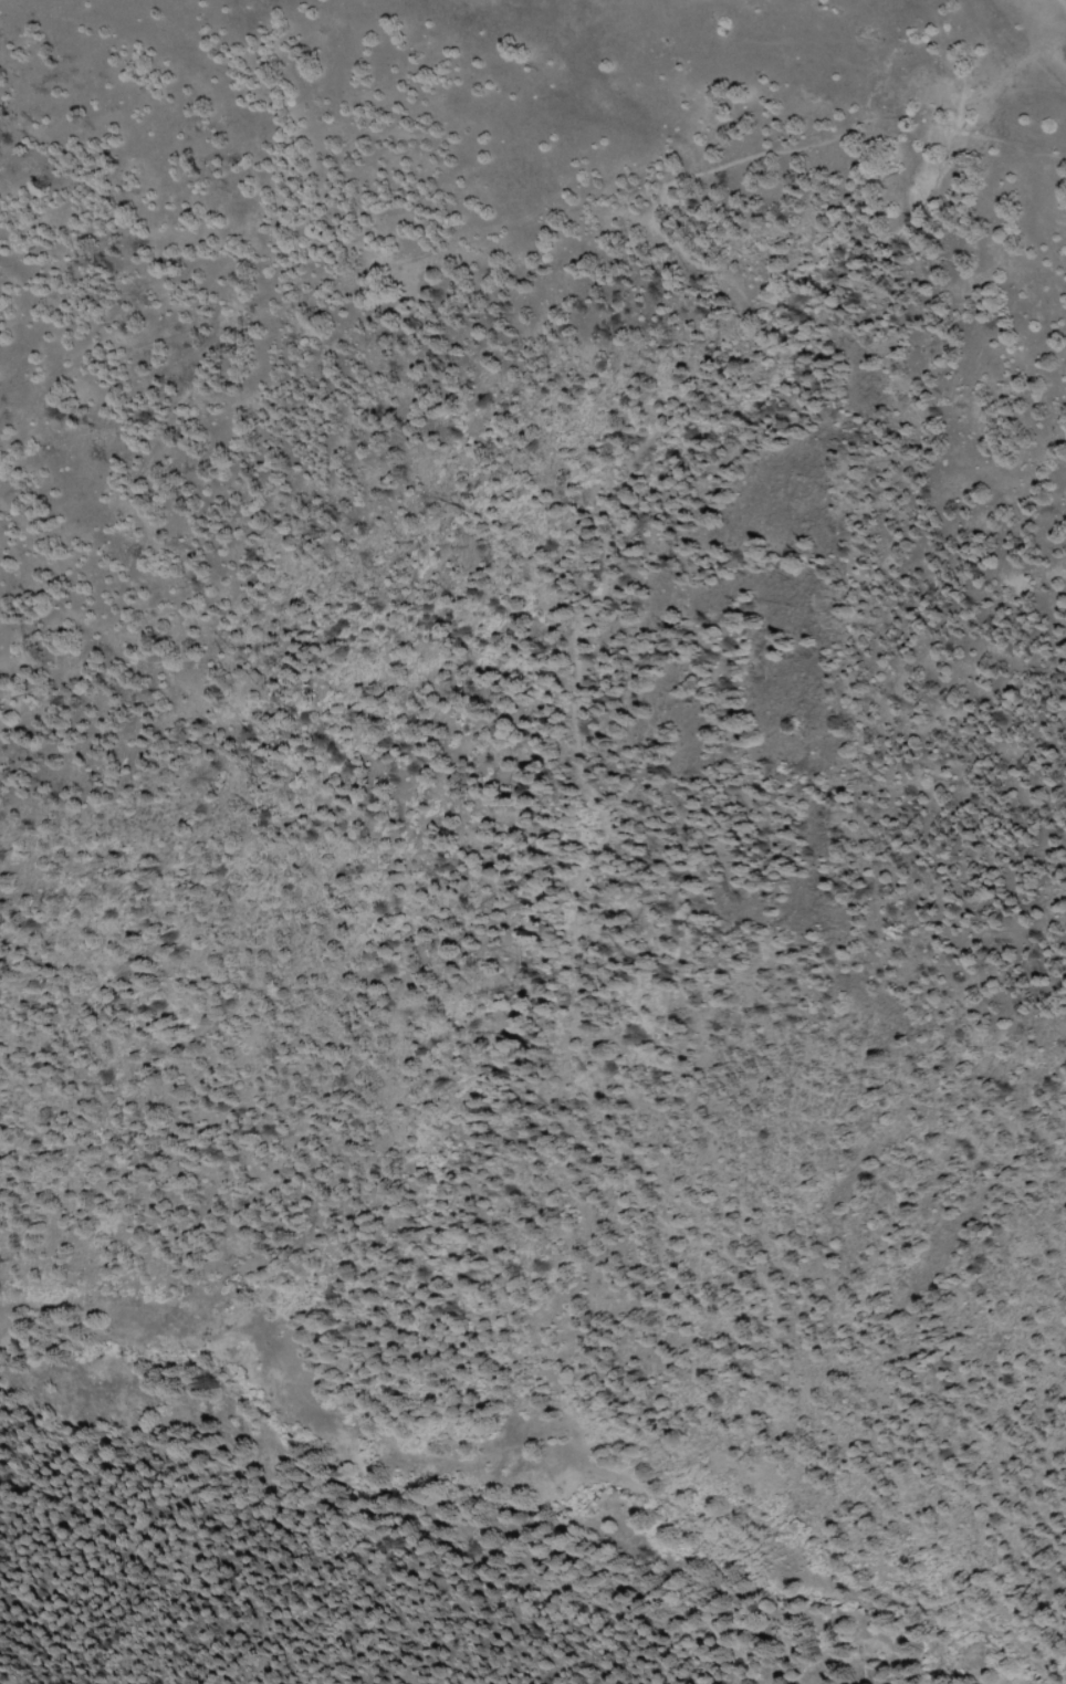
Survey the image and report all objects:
road: (576, 679)
road: (530, 1442)

